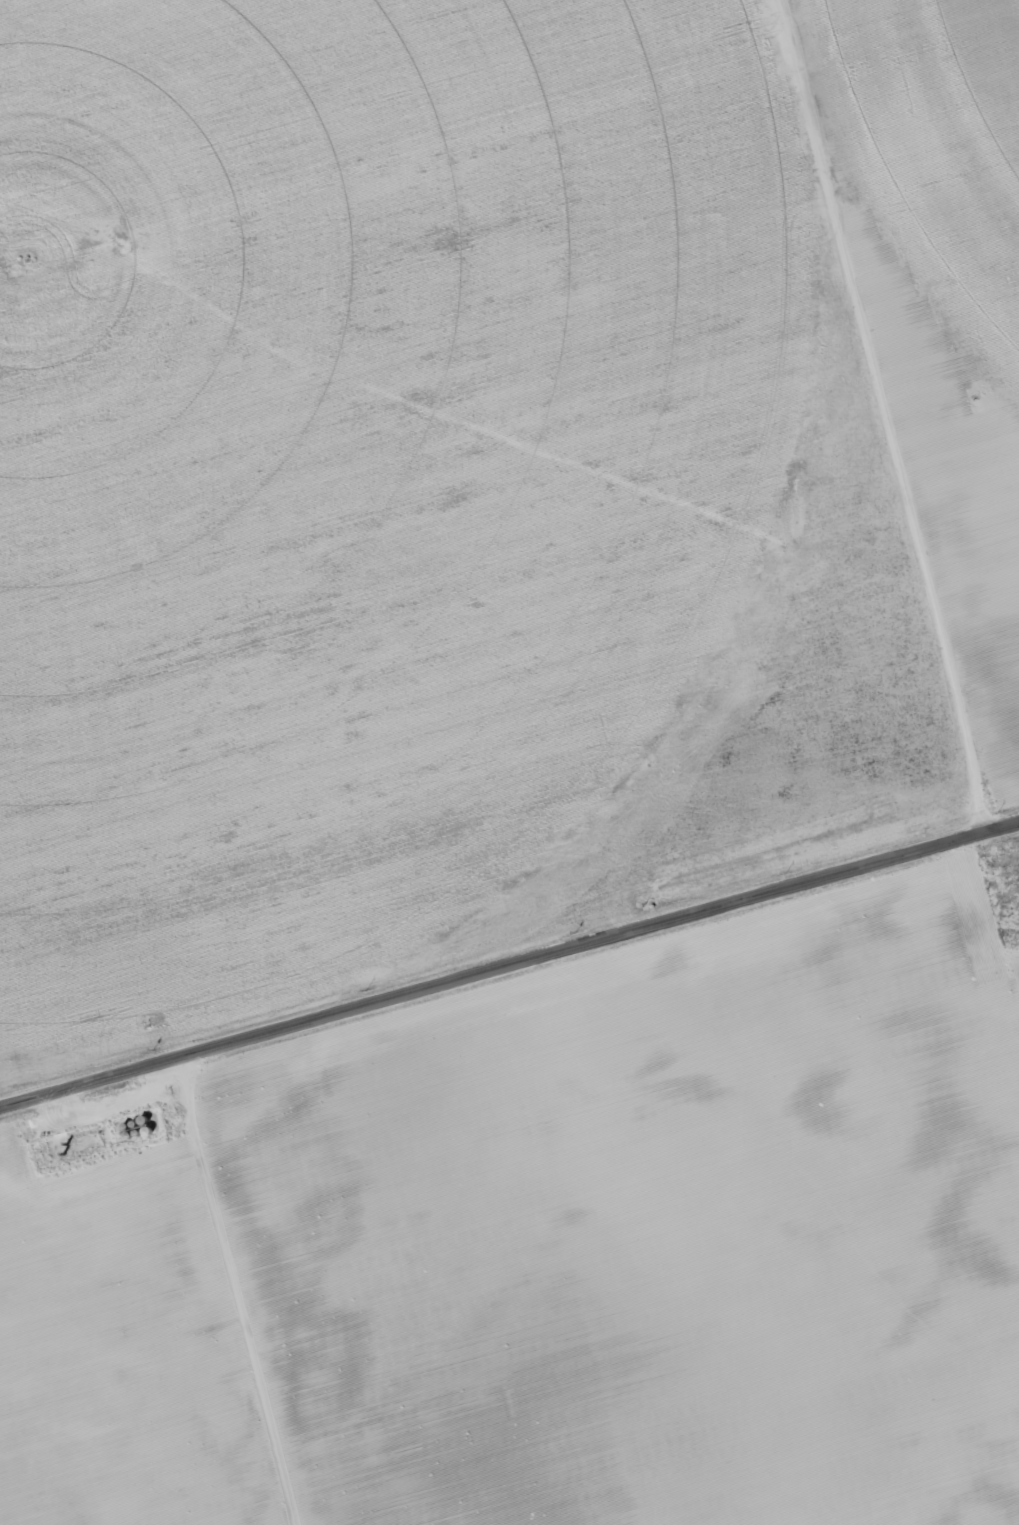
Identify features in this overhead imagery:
road: (509, 969)
road: (253, 1291)

